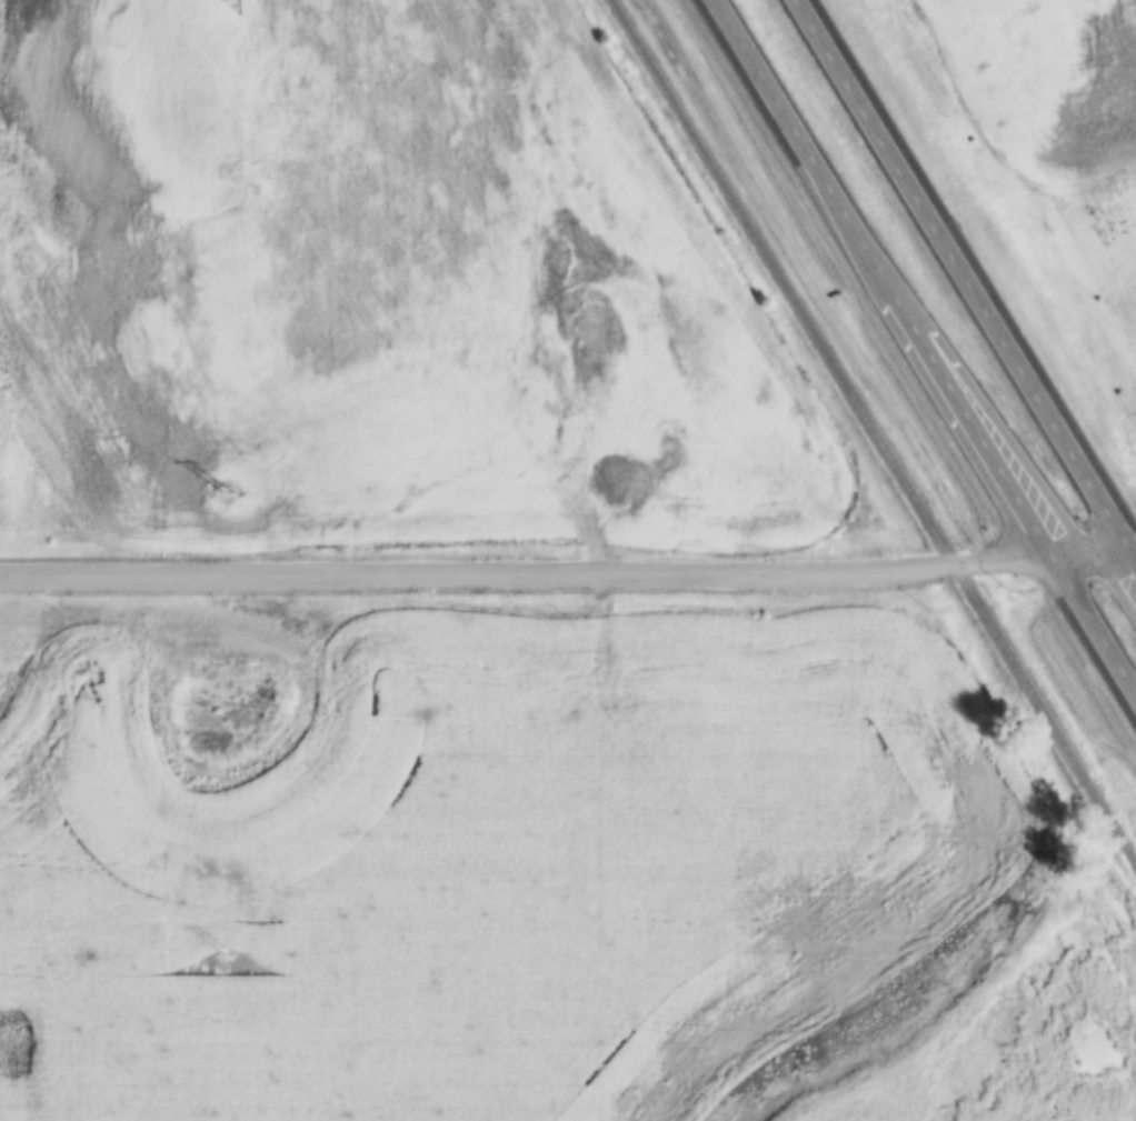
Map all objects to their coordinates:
road: (968, 279)
road: (926, 348)
railway: (873, 432)
power tower: (223, 487)
road: (568, 571)
power tower: (223, 951)

